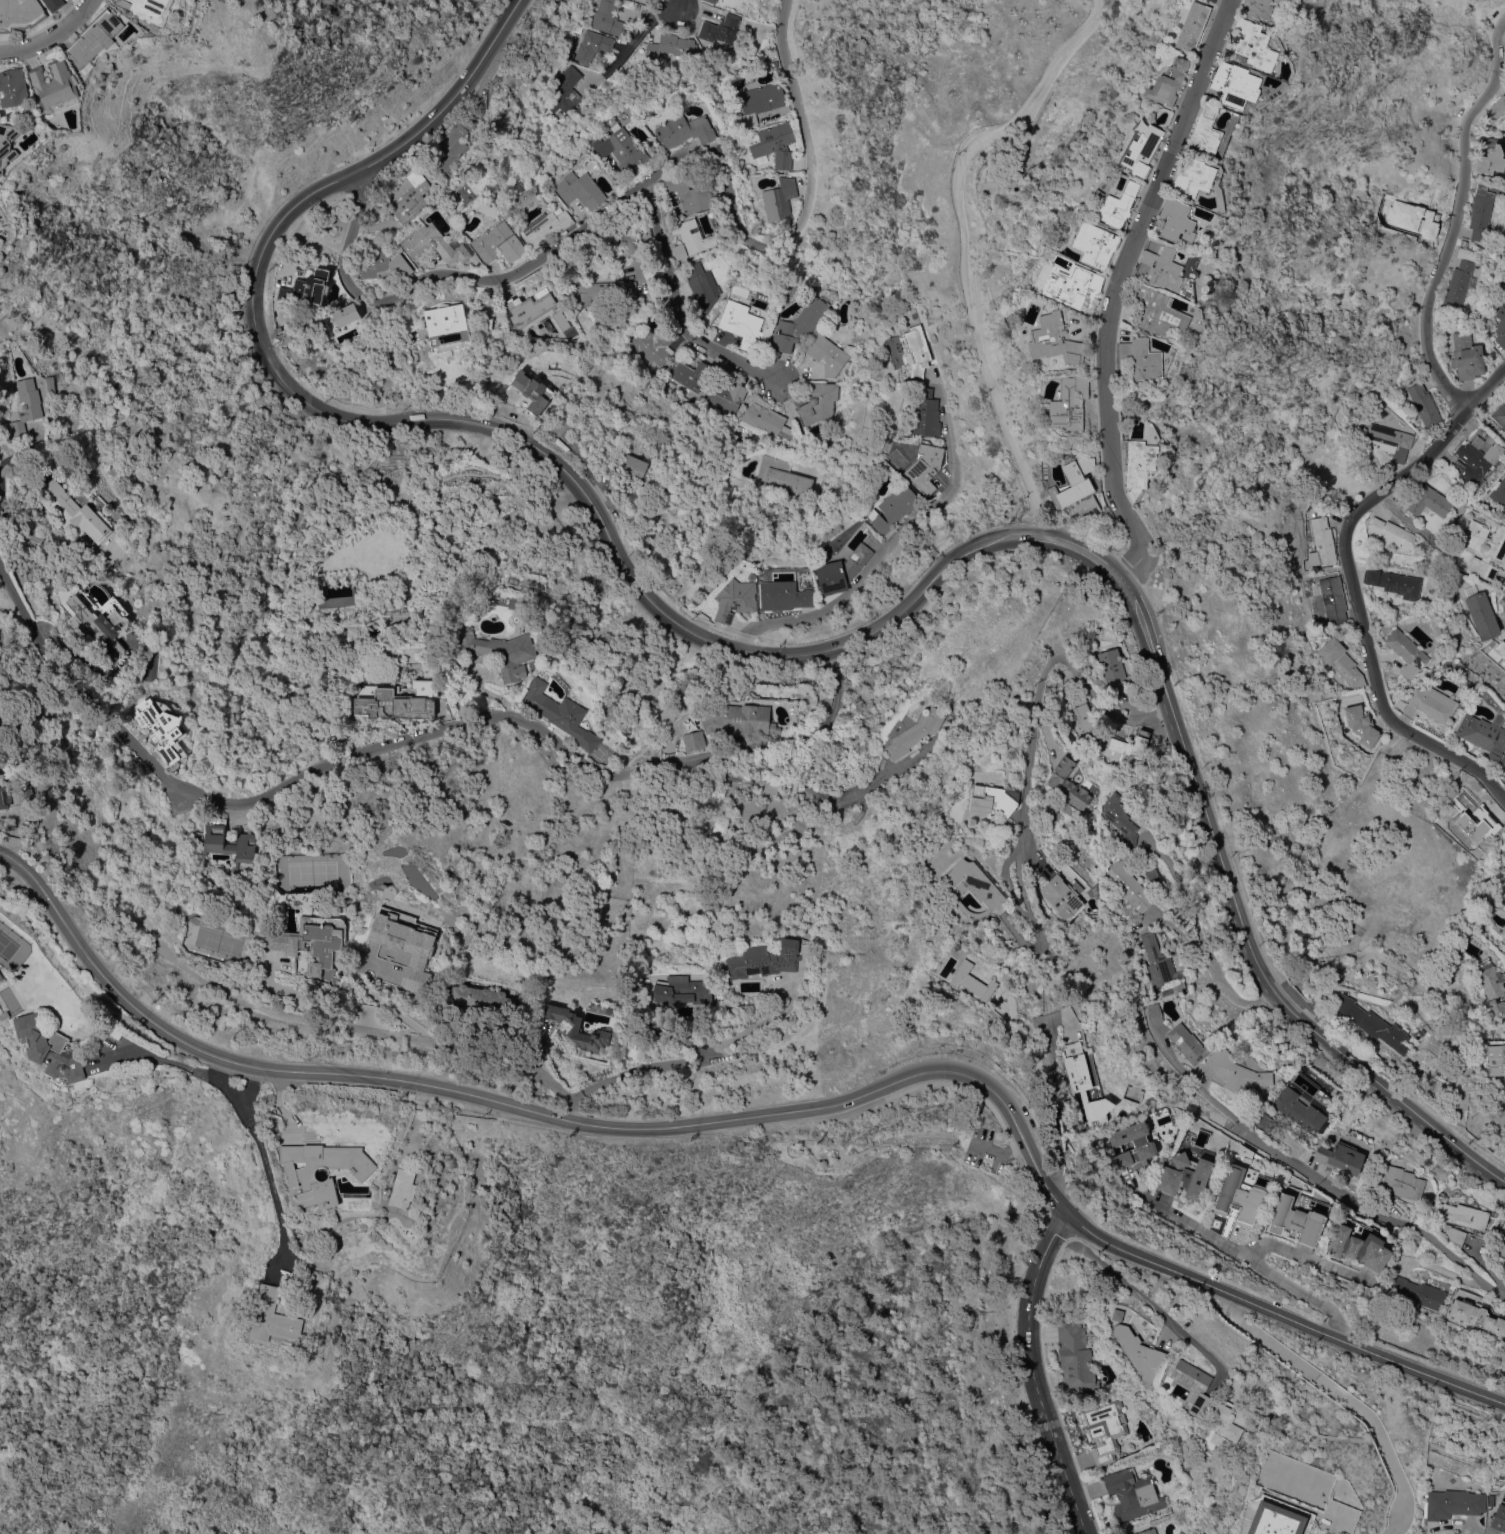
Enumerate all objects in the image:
building: (1212, 0)
building: (712, 1)
building: (54, 4)
road: (678, 6)
building: (147, 8)
building: (1256, 8)
building: (20, 14)
building: (607, 18)
building: (1192, 26)
building: (719, 31)
building: (96, 37)
road: (55, 38)
road: (632, 38)
building: (1251, 45)
building: (592, 46)
building: (671, 46)
building: (55, 83)
building: (1167, 83)
building: (1234, 84)
building: (13, 88)
building: (565, 91)
building: (758, 102)
building: (1497, 113)
building: (685, 130)
building: (1204, 131)
building: (775, 144)
building: (8, 145)
building: (451, 147)
building: (1142, 150)
building: (626, 151)
building: (1490, 156)
building: (1192, 177)
road: (645, 179)
building: (581, 186)
building: (461, 193)
building: (686, 194)
building: (411, 197)
building: (779, 199)
building: (1117, 205)
building: (0, 210)
building: (1480, 212)
building: (1176, 221)
building: (544, 226)
building: (690, 238)
building: (1463, 242)
building: (498, 243)
building: (1095, 243)
building: (433, 244)
road: (967, 247)
building: (384, 265)
building: (1162, 268)
building: (1460, 278)
building: (308, 287)
building: (702, 287)
building: (1073, 288)
road: (1114, 289)
building: (593, 291)
building: (530, 307)
road: (677, 307)
building: (1157, 312)
building: (346, 314)
building: (446, 319)
building: (561, 320)
building: (741, 323)
building: (800, 324)
building: (1500, 325)
building: (484, 326)
building: (1055, 339)
building: (652, 343)
building: (917, 351)
building: (827, 355)
building: (1467, 356)
building: (1141, 358)
building: (845, 373)
building: (689, 374)
building: (533, 390)
road: (1488, 392)
building: (727, 398)
building: (818, 402)
building: (1069, 404)
building: (26, 405)
building: (1424, 405)
building: (926, 413)
building: (1500, 415)
building: (764, 418)
building: (1390, 440)
road: (1439, 441)
building: (1475, 460)
building: (1139, 465)
building: (925, 466)
building: (627, 474)
building: (782, 475)
building: (1071, 485)
building: (1499, 493)
building: (1430, 504)
building: (893, 507)
building: (78, 512)
building: (1391, 533)
building: (1321, 542)
road: (886, 545)
building: (1484, 547)
building: (841, 570)
building: (1395, 582)
building: (783, 595)
building: (735, 599)
building: (1333, 599)
building: (335, 601)
road: (9, 604)
building: (100, 611)
building: (1482, 615)
building: (1501, 645)
building: (499, 650)
building: (1406, 651)
road: (786, 655)
building: (1341, 661)
building: (1112, 668)
building: (1070, 685)
building: (392, 702)
building: (1433, 703)
building: (561, 713)
building: (1083, 715)
building: (740, 720)
building: (1360, 724)
building: (162, 727)
building: (915, 732)
road: (1034, 733)
building: (1484, 737)
road: (409, 739)
building: (694, 741)
building: (1131, 744)
building: (1068, 783)
building: (1504, 783)
road: (799, 786)
building: (15, 796)
building: (994, 799)
building: (1120, 818)
building: (1473, 824)
building: (229, 843)
building: (1504, 850)
building: (972, 883)
building: (1129, 884)
building: (1063, 895)
building: (1503, 934)
road: (1199, 935)
building: (312, 942)
building: (407, 944)
building: (765, 960)
building: (1159, 962)
building: (1, 976)
building: (979, 986)
building: (1494, 987)
building: (682, 990)
building: (483, 999)
building: (1013, 1001)
building: (1155, 1013)
building: (5, 1015)
building: (1371, 1022)
building: (579, 1029)
building: (1417, 1033)
road: (405, 1036)
building: (1188, 1043)
building: (50, 1047)
building: (582, 1052)
building: (1494, 1056)
road: (686, 1058)
road: (177, 1062)
building: (1077, 1066)
building: (1237, 1072)
building: (1299, 1110)
road: (768, 1113)
building: (1265, 1121)
road: (407, 1139)
building: (1144, 1144)
road: (259, 1147)
parking lot: (983, 1149)
road: (870, 1150)
building: (1245, 1151)
road: (996, 1153)
building: (1340, 1157)
building: (1186, 1175)
building: (301, 1176)
building: (1403, 1182)
building: (404, 1188)
building: (1243, 1193)
road: (1350, 1199)
building: (1461, 1214)
building: (1300, 1217)
building: (1456, 1235)
building: (1501, 1238)
road: (1215, 1239)
building: (1359, 1248)
road: (1305, 1256)
road: (1449, 1272)
building: (1420, 1292)
road: (1147, 1301)
road: (1329, 1312)
building: (1477, 1316)
building: (275, 1317)
building: (1504, 1337)
building: (1141, 1353)
building: (1074, 1356)
road: (1034, 1374)
building: (1193, 1385)
road: (1344, 1397)
building: (1230, 1425)
building: (1104, 1429)
building: (1130, 1446)
building: (1133, 1493)
building: (1489, 1501)
building: (1452, 1503)
building: (1279, 1518)
building: (1498, 1518)
building: (1147, 1531)

